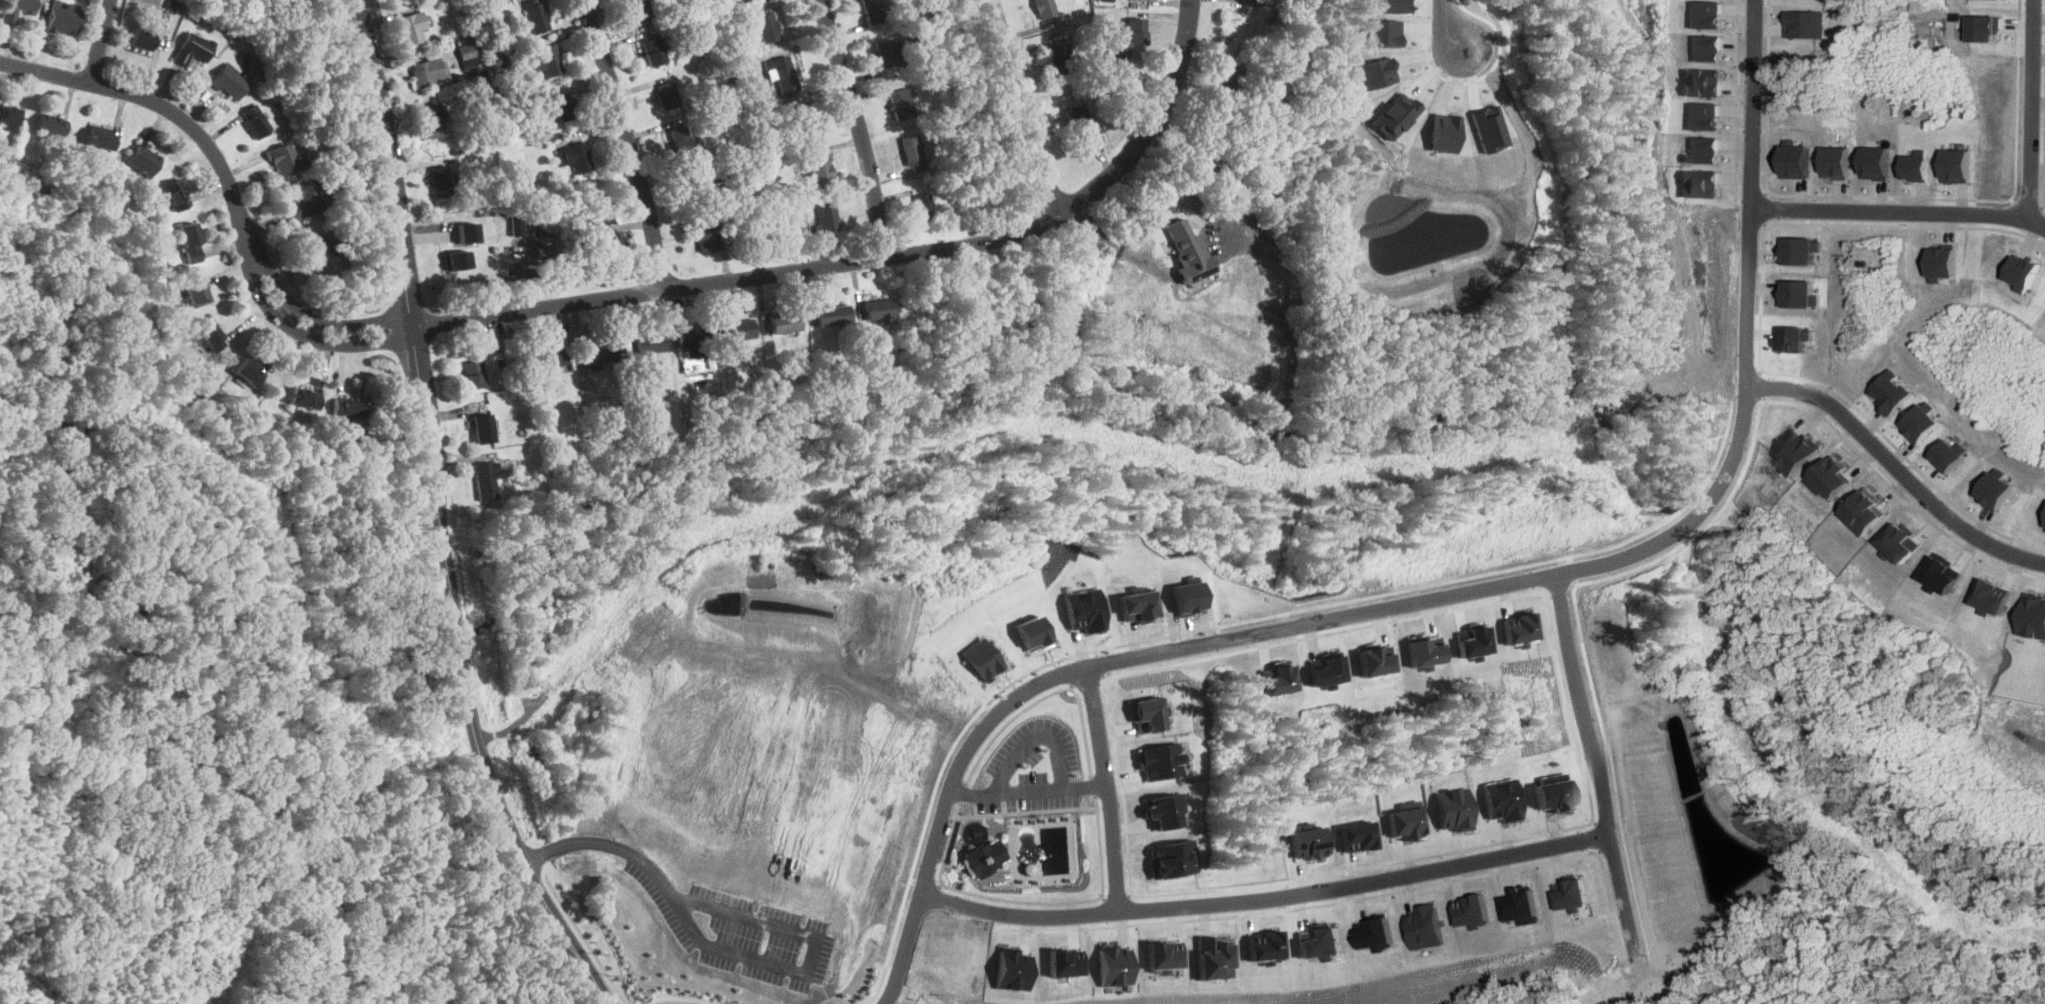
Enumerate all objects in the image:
building: (394, 0)
building: (1106, 0)
building: (1391, 6)
building: (16, 9)
building: (639, 9)
building: (1045, 10)
building: (872, 11)
building: (1703, 13)
building: (535, 16)
building: (63, 17)
building: (767, 24)
building: (1804, 24)
road: (1447, 25)
building: (411, 27)
building: (1984, 28)
building: (1381, 32)
building: (1136, 33)
building: (142, 40)
road: (101, 41)
building: (1705, 47)
building: (193, 48)
building: (466, 50)
building: (653, 52)
building: (886, 52)
building: (1119, 54)
building: (1061, 60)
building: (547, 61)
building: (499, 64)
building: (427, 72)
building: (1375, 72)
building: (781, 74)
building: (1224, 79)
building: (230, 82)
building: (1700, 82)
building: (667, 96)
building: (901, 104)
road: (1022, 106)
building: (563, 107)
road: (2032, 108)
building: (9, 115)
building: (1701, 115)
building: (1394, 116)
building: (255, 121)
building: (1080, 121)
building: (432, 124)
building: (809, 124)
road: (858, 124)
building: (51, 125)
building: (1488, 128)
road: (1161, 129)
building: (1443, 132)
building: (101, 139)
building: (681, 140)
road: (628, 141)
building: (912, 150)
building: (1701, 150)
building: (575, 157)
road: (217, 158)
building: (287, 159)
building: (143, 160)
building: (1794, 161)
building: (1835, 162)
building: (1875, 163)
building: (1956, 165)
building: (1916, 168)
building: (818, 171)
building: (440, 181)
building: (1697, 183)
building: (176, 195)
building: (306, 200)
building: (924, 206)
building: (600, 214)
road: (1900, 214)
building: (827, 218)
building: (796, 226)
road: (1092, 226)
building: (469, 230)
building: (707, 233)
building: (191, 243)
building: (607, 245)
building: (323, 249)
building: (1188, 250)
building: (1797, 250)
road: (1129, 257)
building: (460, 258)
road: (837, 259)
building: (1942, 263)
road: (1273, 270)
building: (2022, 272)
building: (197, 293)
building: (1797, 293)
building: (877, 309)
building: (832, 315)
building: (785, 323)
building: (740, 330)
building: (212, 336)
building: (693, 339)
building: (1795, 339)
building: (649, 343)
building: (601, 352)
building: (552, 357)
building: (250, 371)
building: (473, 375)
building: (1889, 391)
building: (305, 397)
road: (422, 404)
building: (347, 407)
building: (1920, 422)
building: (483, 427)
road: (1025, 433)
building: (1794, 452)
building: (1949, 454)
road: (1896, 469)
building: (1831, 477)
building: (484, 480)
building: (1995, 489)
building: (1865, 512)
building: (1902, 541)
building: (1942, 573)
road: (1450, 595)
building: (1183, 597)
building: (1993, 597)
building: (1134, 605)
building: (1084, 609)
building: (2034, 616)
building: (1522, 627)
building: (1035, 633)
building: (1475, 641)
building: (1424, 652)
building: (986, 658)
building: (1375, 660)
building: (1328, 672)
building: (1278, 680)
road: (1587, 703)
building: (1145, 713)
road: (1038, 734)
park: (756, 750)
building: (1159, 760)
road: (1109, 787)
road: (1030, 789)
building: (1555, 793)
building: (1504, 799)
building: (1455, 808)
building: (1165, 809)
building: (1408, 822)
building: (1358, 835)
building: (1309, 842)
building: (986, 857)
building: (1174, 858)
road: (1622, 889)
building: (1571, 895)
road: (1270, 896)
building: (1517, 905)
road: (545, 908)
building: (1467, 910)
building: (1419, 926)
building: (1370, 933)
building: (1321, 944)
building: (1269, 946)
road: (729, 953)
building: (1168, 954)
building: (1217, 957)
building: (1068, 962)
building: (1118, 963)
building: (1015, 968)

